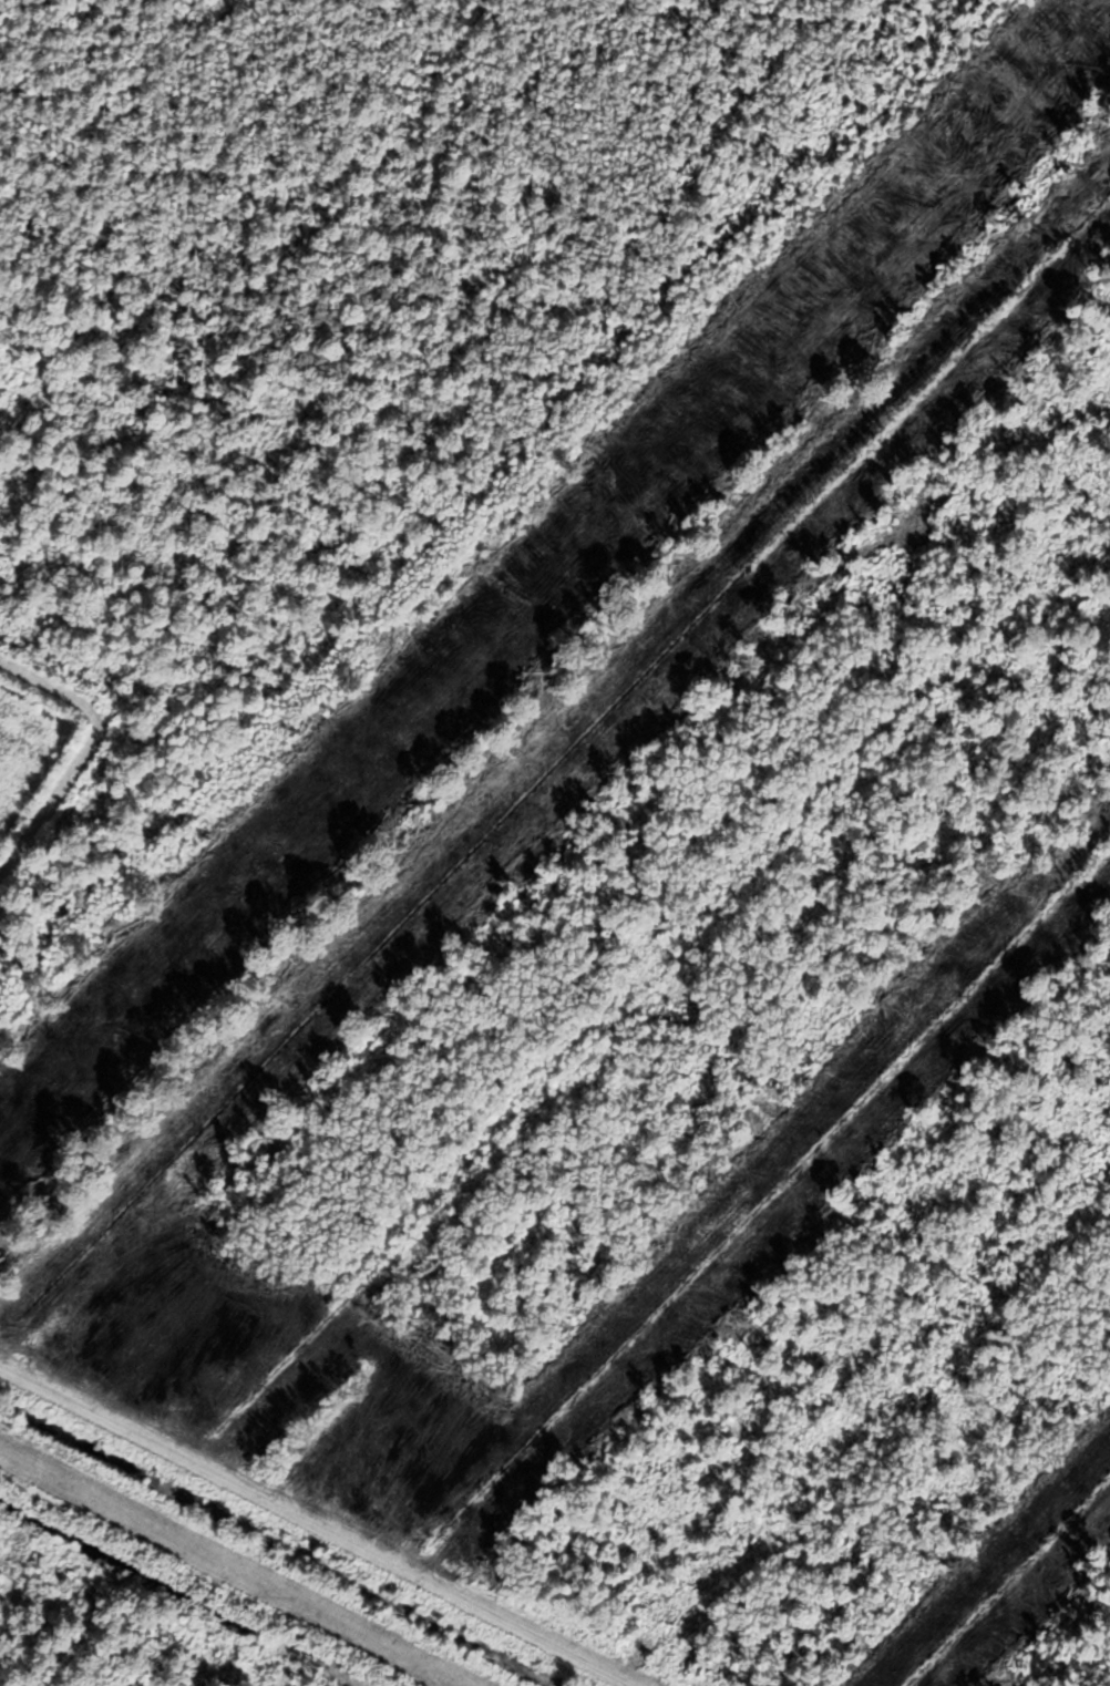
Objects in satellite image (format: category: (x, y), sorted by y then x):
road: (307, 1522)

